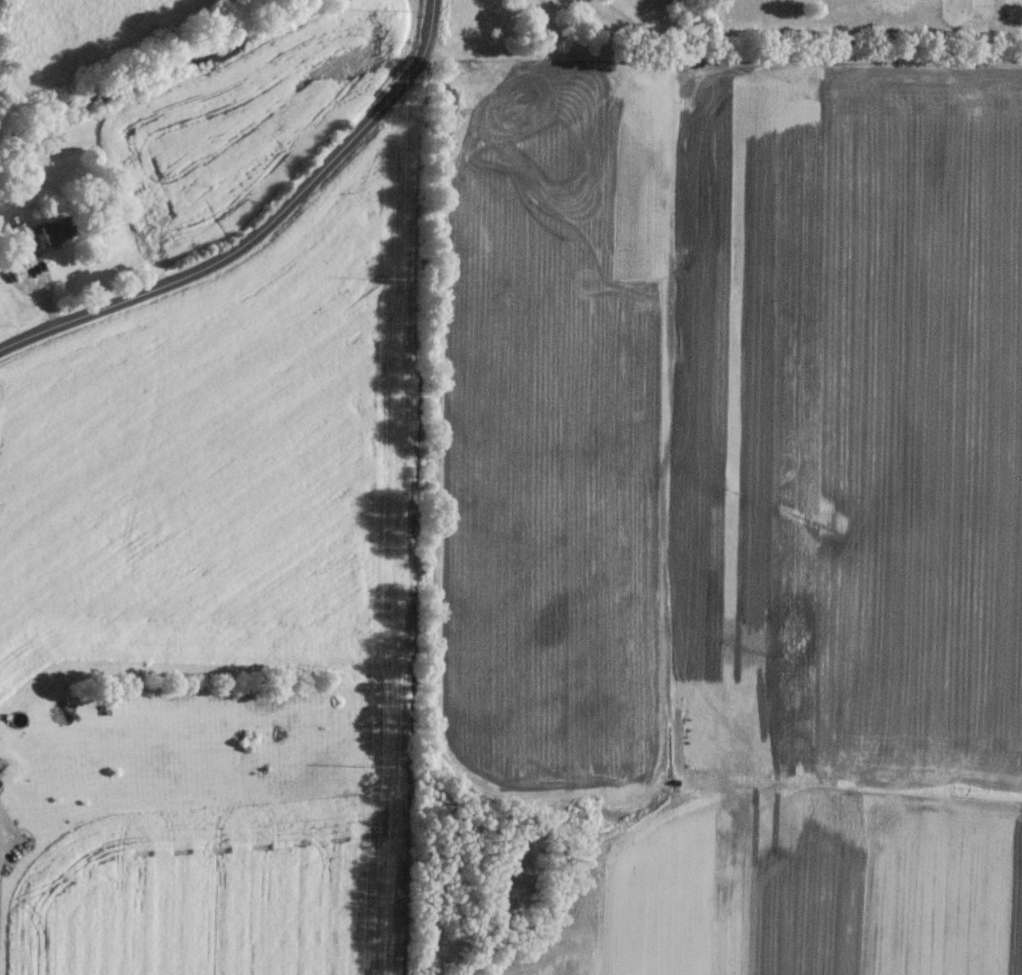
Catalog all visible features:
road: (992, 29)
road: (728, 51)
road: (264, 224)
building: (21, 229)
building: (54, 229)

